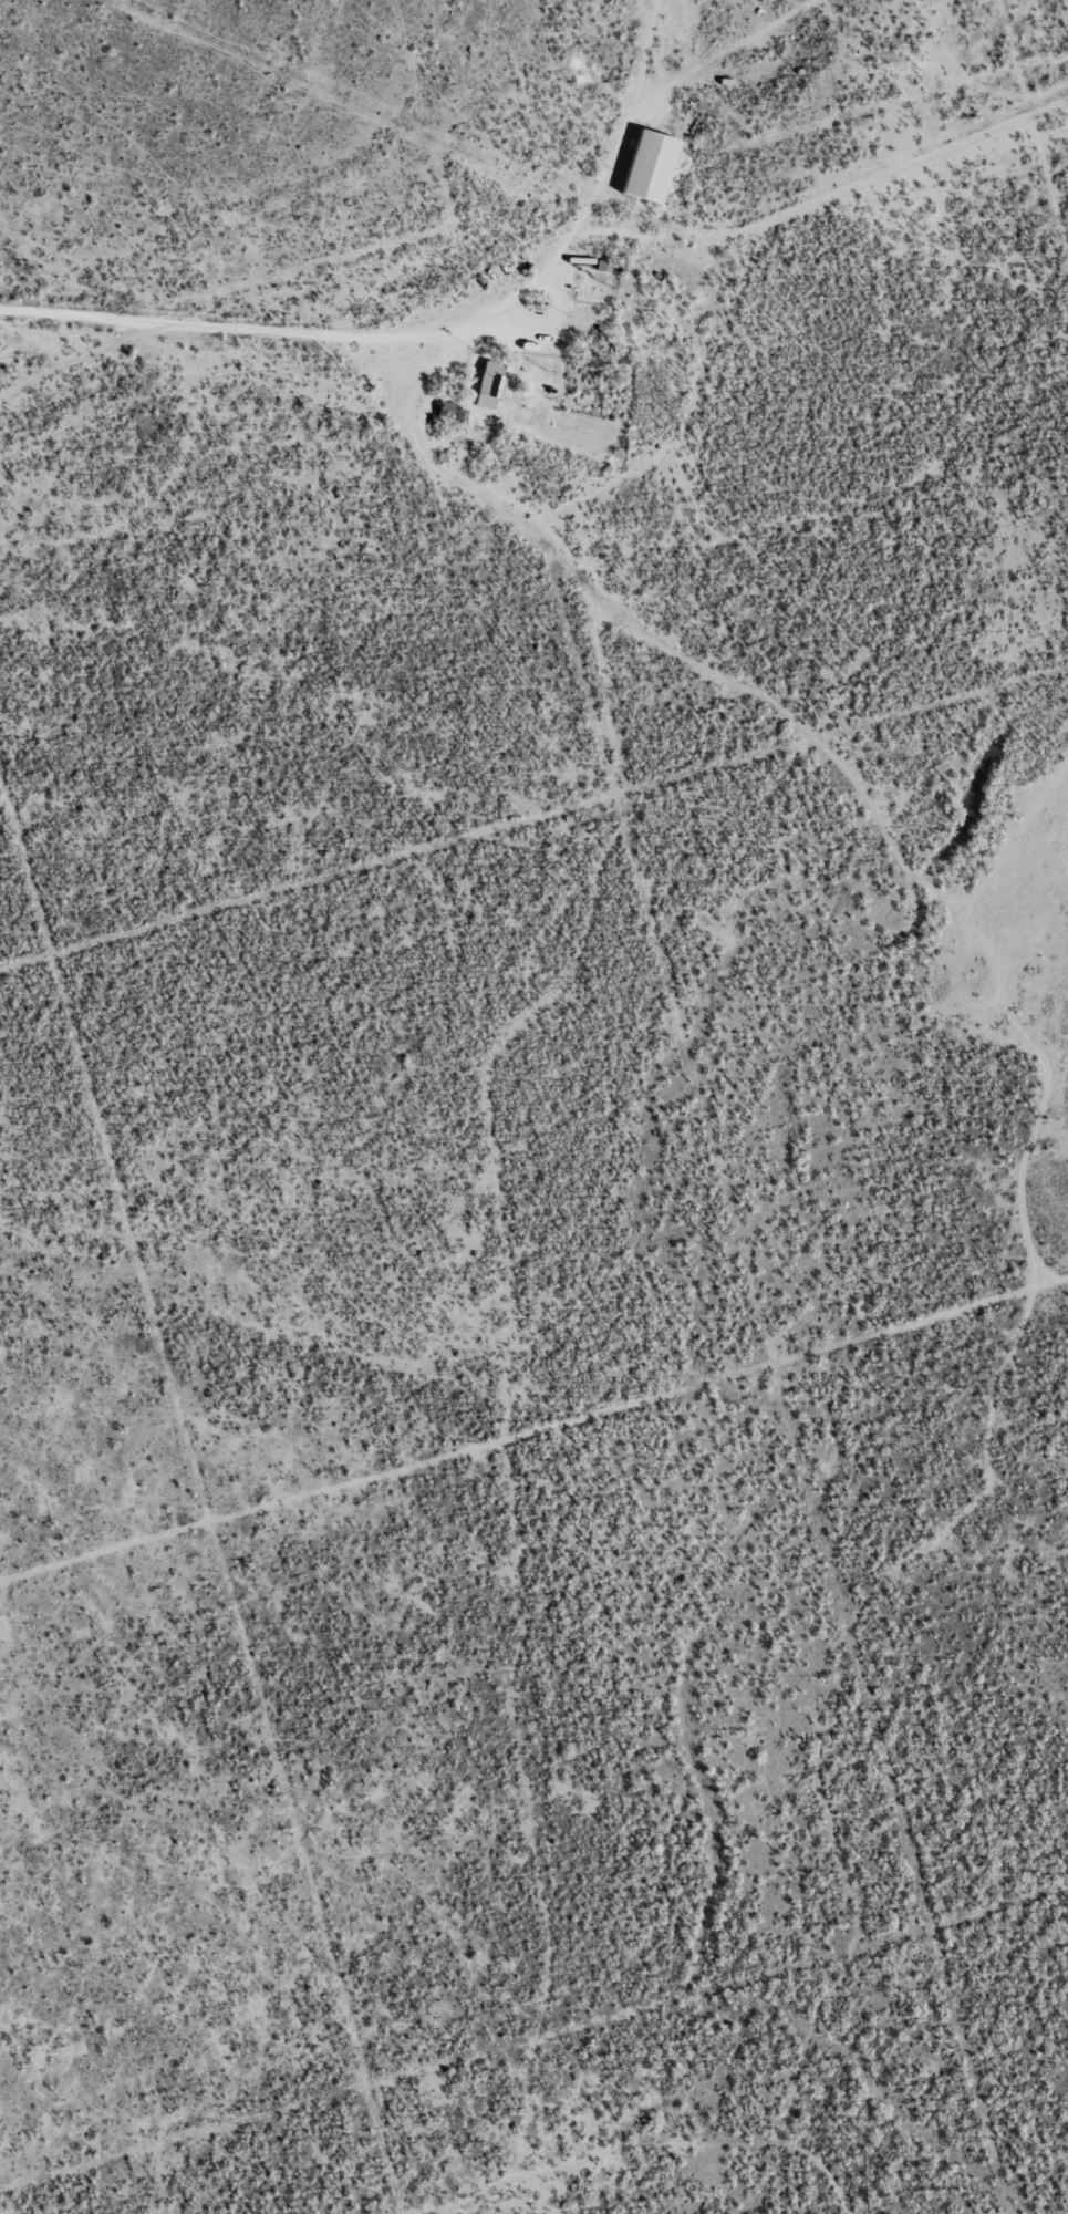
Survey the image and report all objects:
building: (647, 164)
road: (495, 168)
road: (234, 344)
building: (489, 384)
road: (55, 407)
building: (447, 413)

